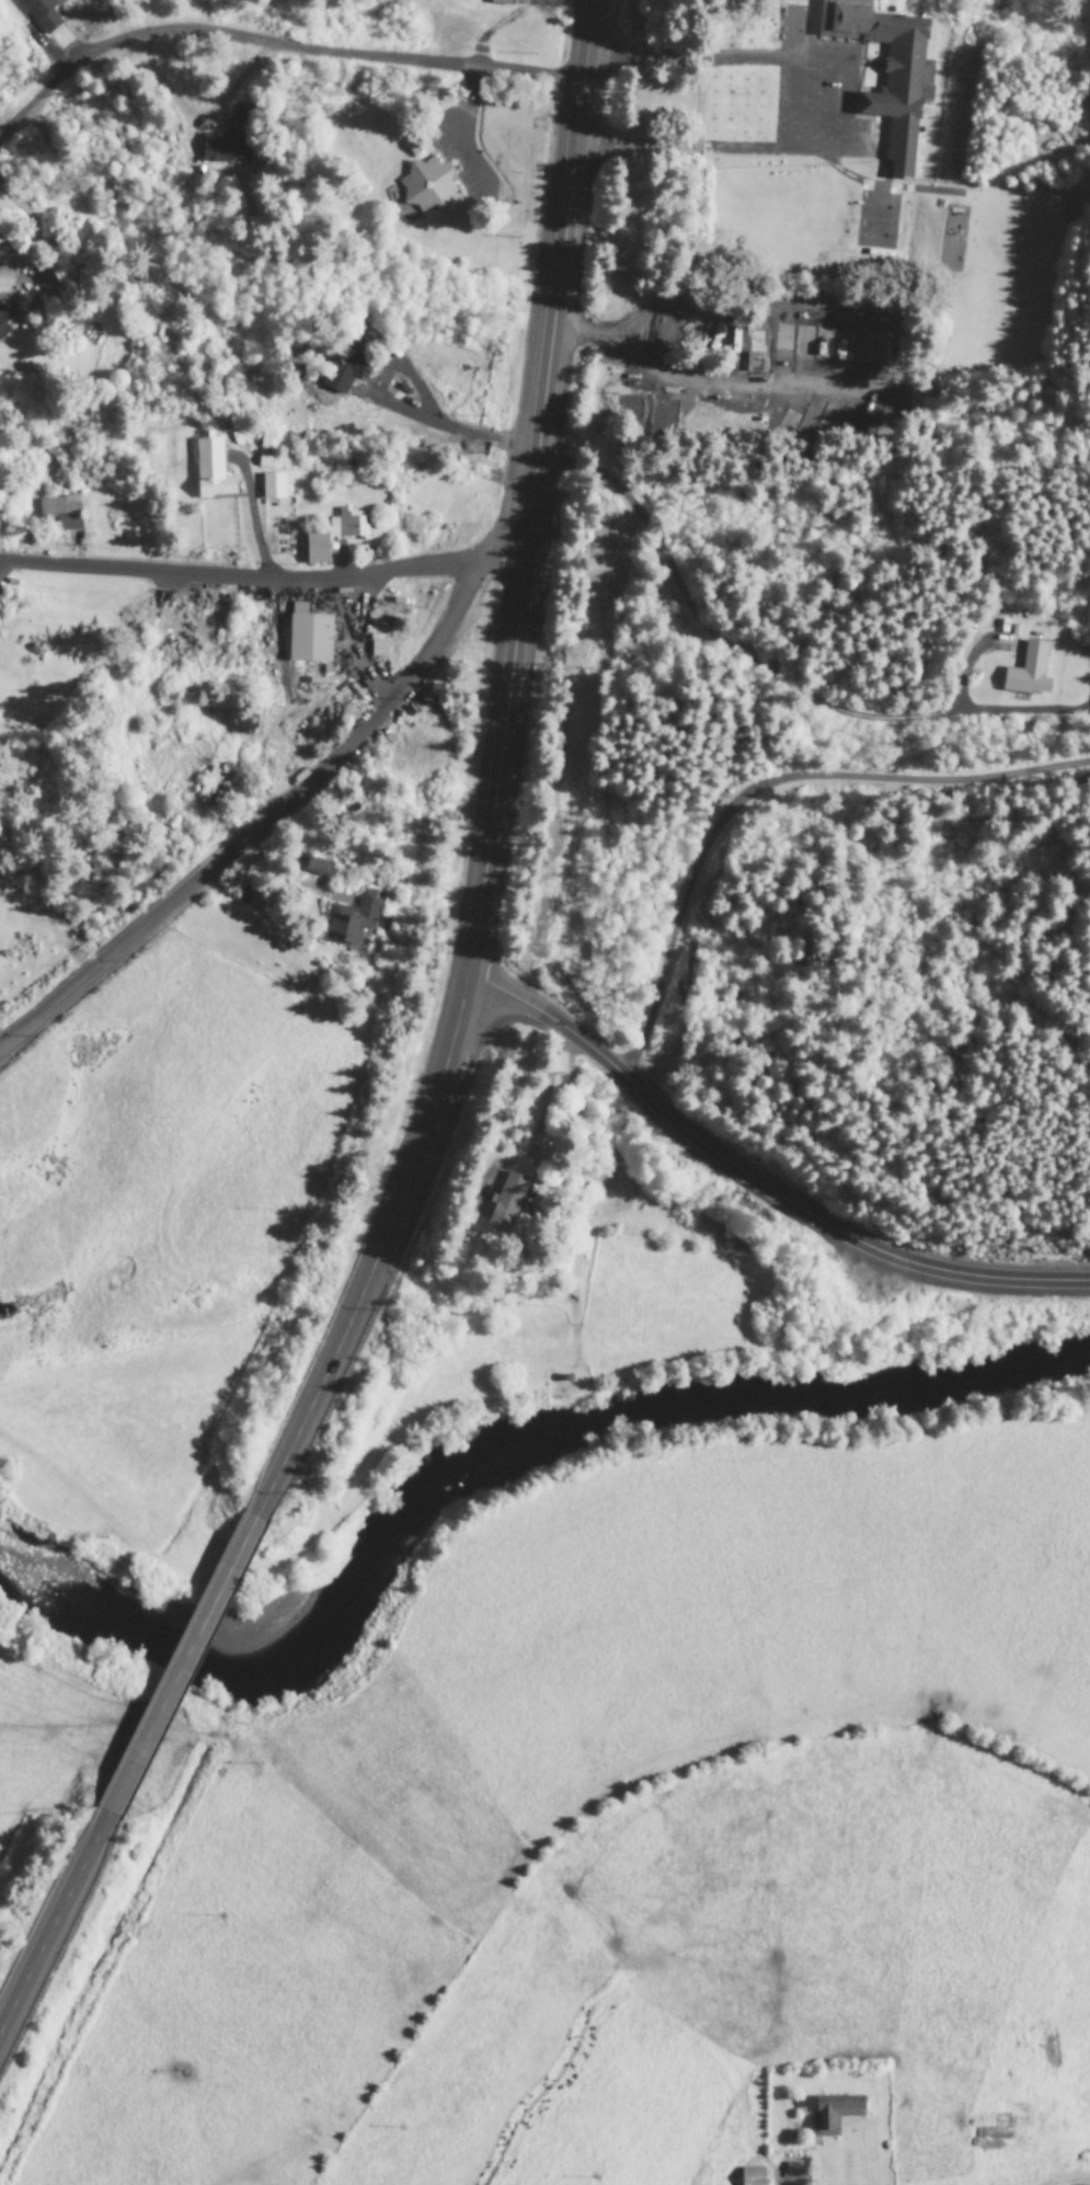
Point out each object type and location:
building: (500, 2)
building: (39, 13)
road: (586, 26)
road: (219, 37)
building: (885, 71)
road: (524, 77)
road: (796, 107)
road: (844, 113)
road: (460, 137)
building: (228, 138)
building: (412, 146)
parking lot: (457, 170)
building: (425, 186)
road: (867, 305)
road: (584, 336)
building: (755, 364)
building: (341, 371)
building: (879, 420)
building: (209, 470)
road: (532, 481)
building: (271, 487)
building: (59, 514)
building: (345, 525)
building: (314, 549)
road: (265, 579)
building: (307, 637)
building: (376, 647)
building: (1025, 672)
road: (761, 790)
road: (260, 828)
building: (348, 922)
road: (541, 1096)
road: (758, 1185)
road: (392, 1222)
road: (180, 1682)
road: (49, 1945)
building: (831, 2114)
road: (776, 2175)
building: (750, 2176)

